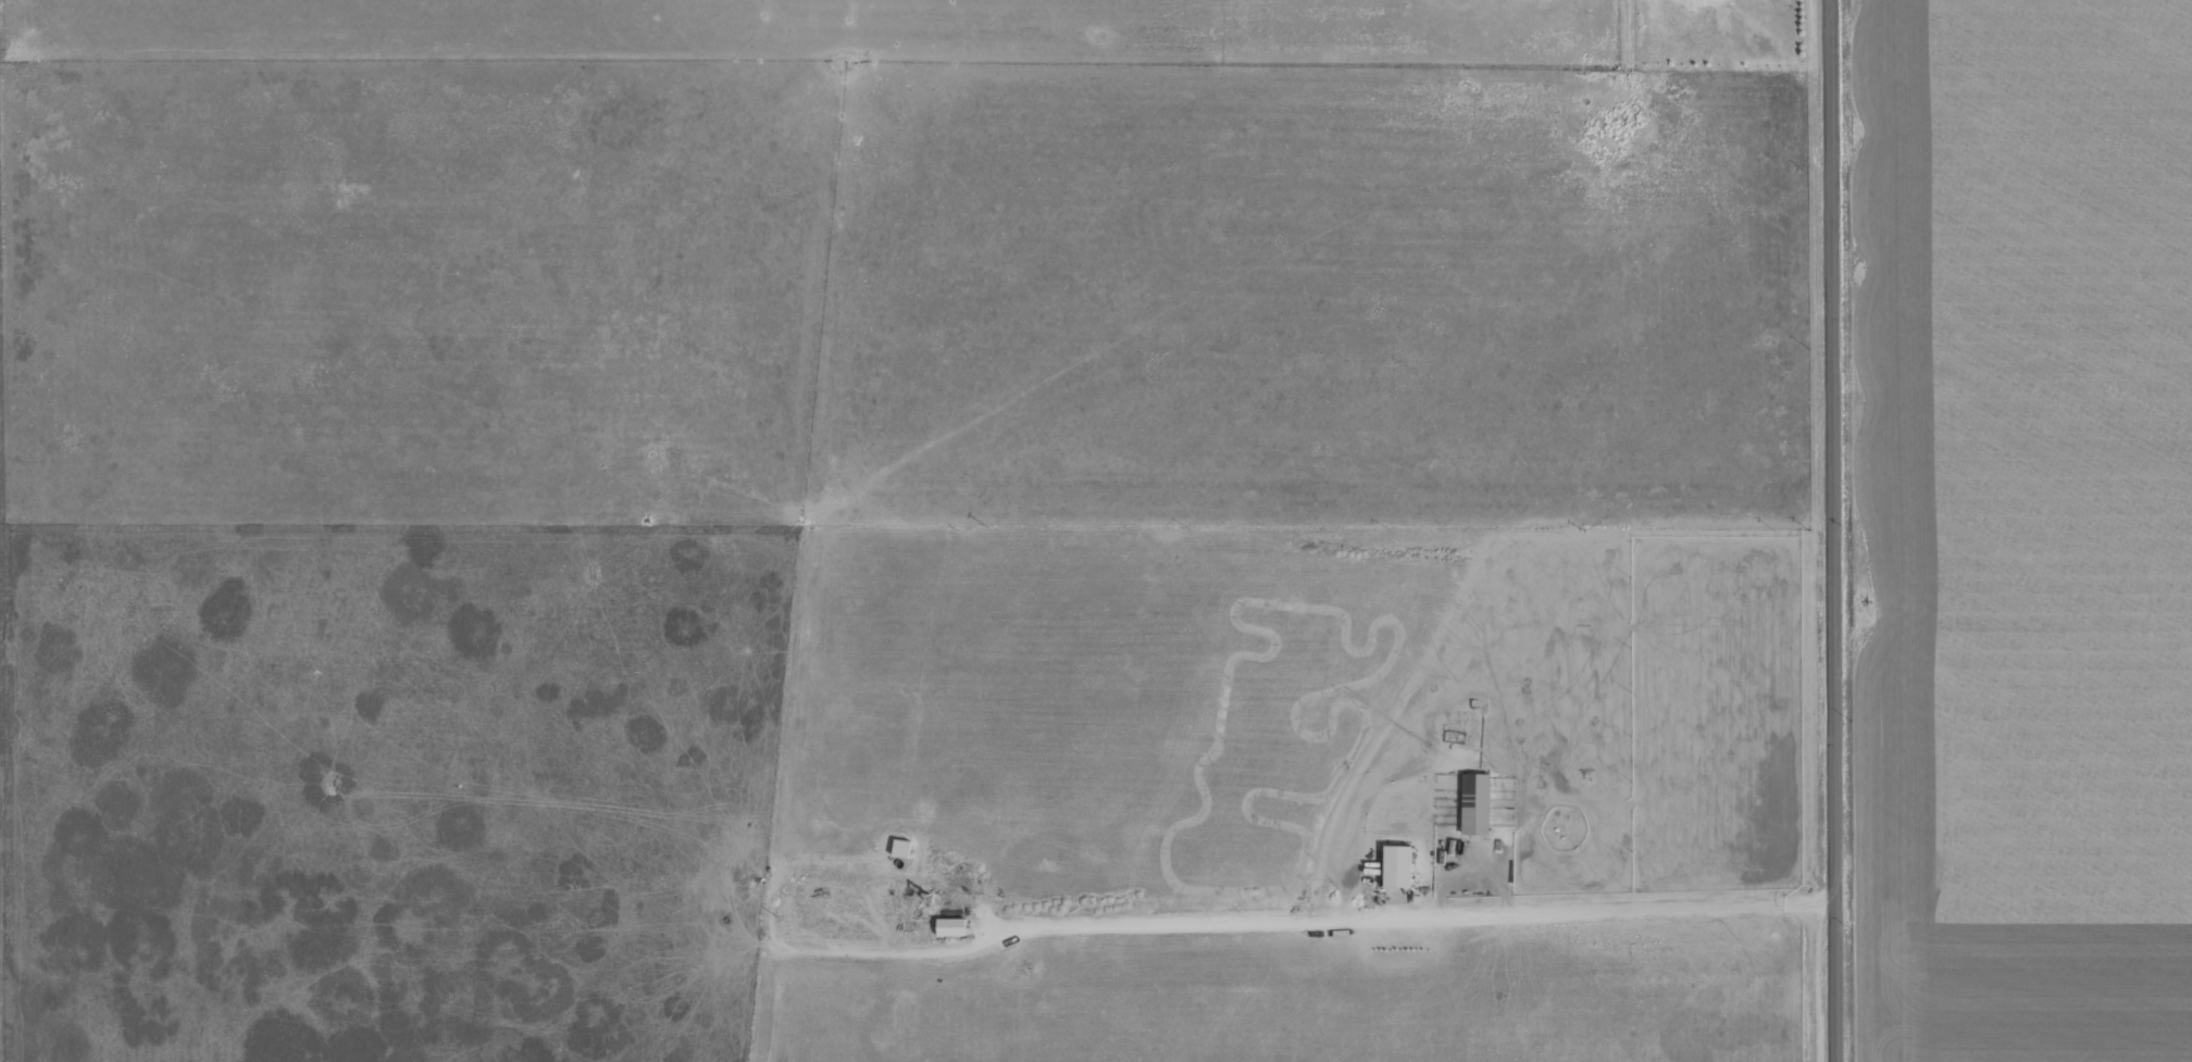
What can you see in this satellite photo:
road: (1834, 530)
building: (1480, 804)
building: (1403, 866)

